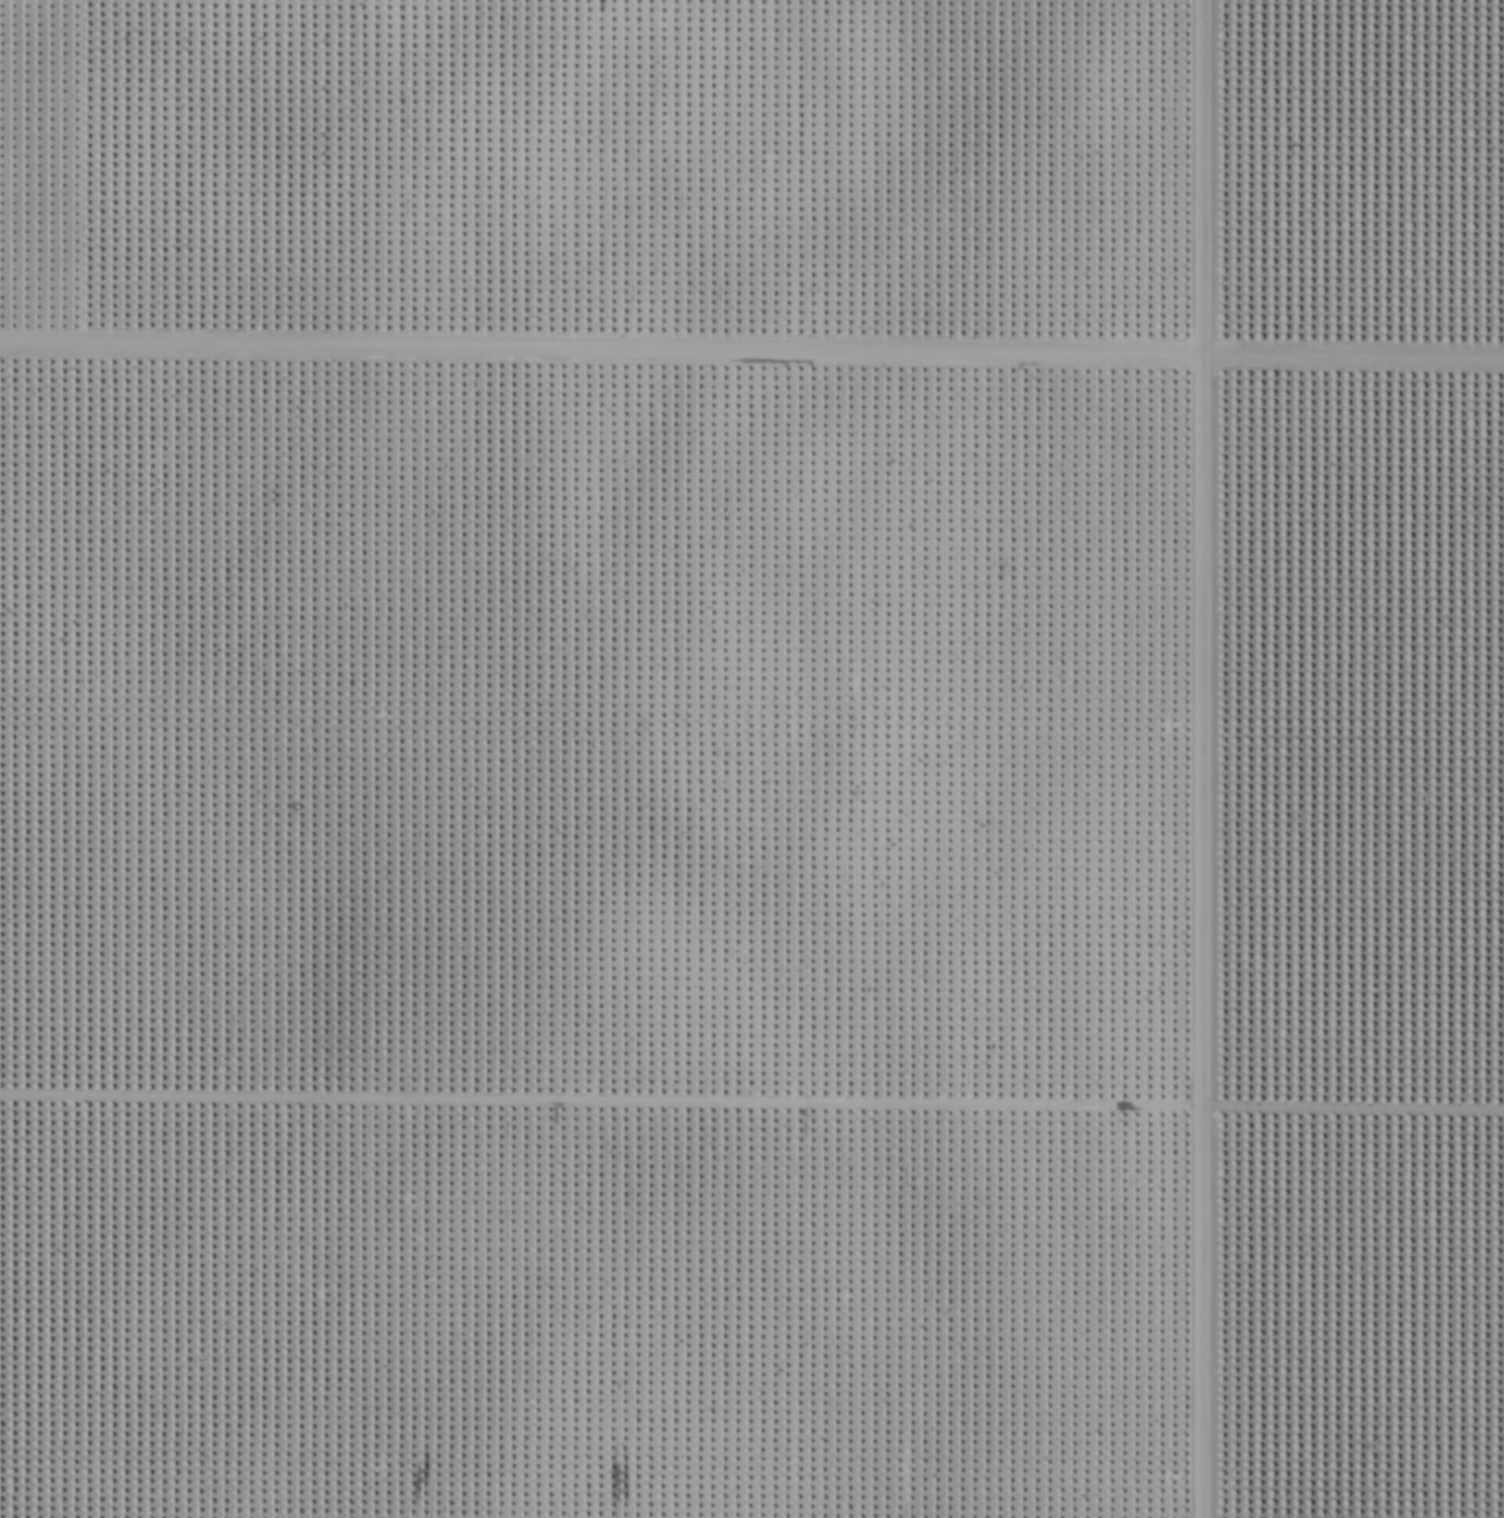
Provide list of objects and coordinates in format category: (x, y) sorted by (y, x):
crop: (752, 759)
road: (1201, 759)

